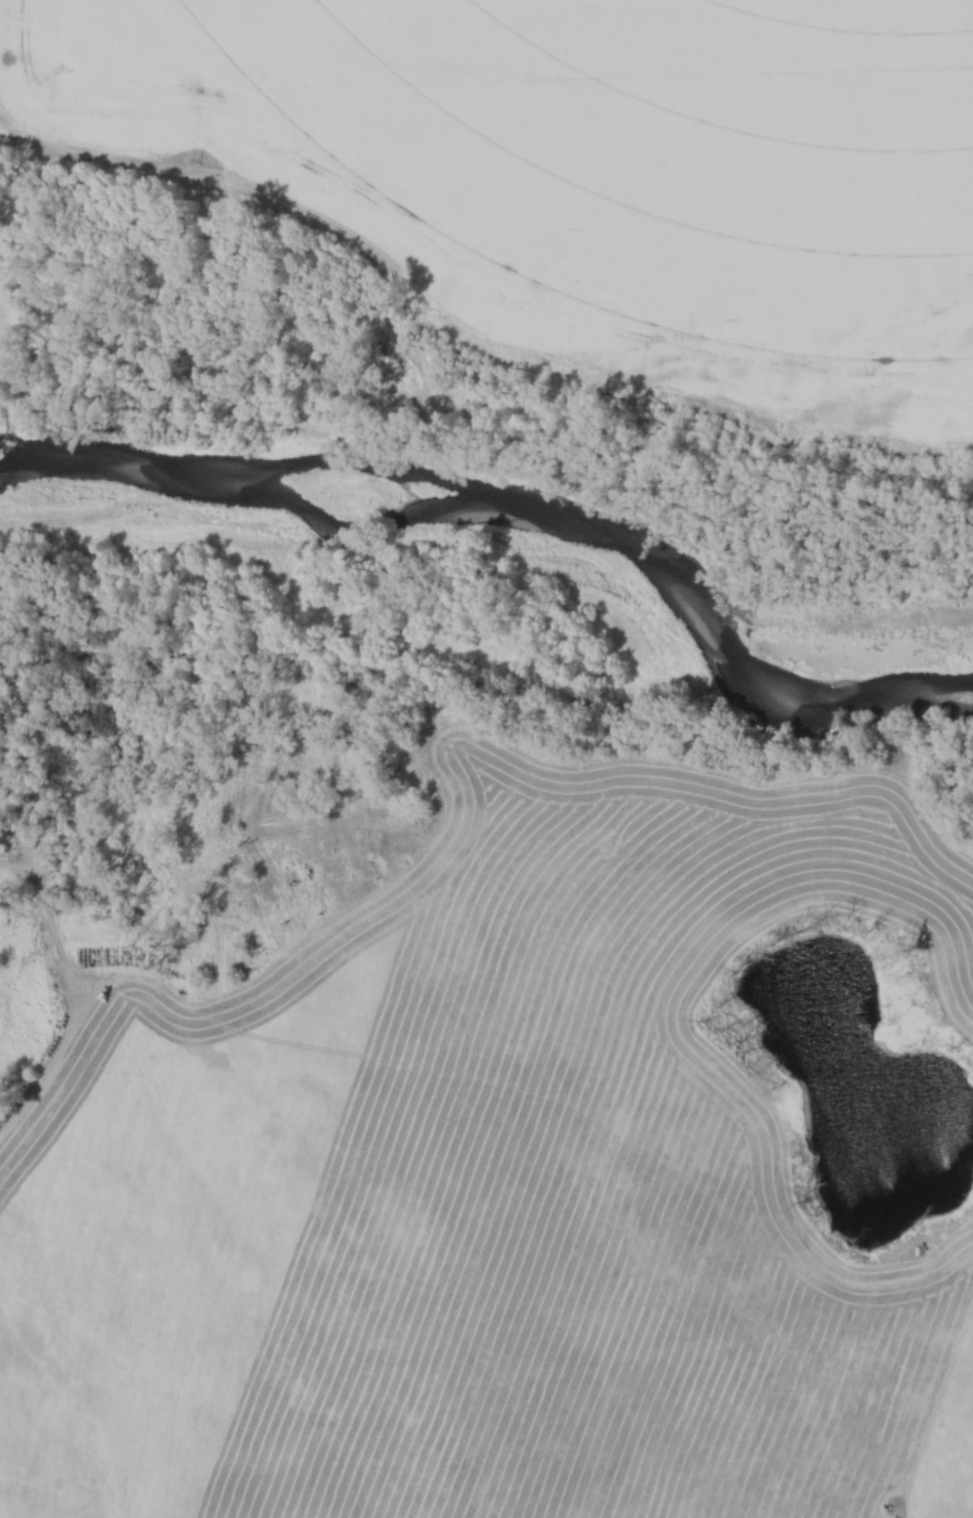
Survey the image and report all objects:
river: (525, 520)
road: (84, 1008)

